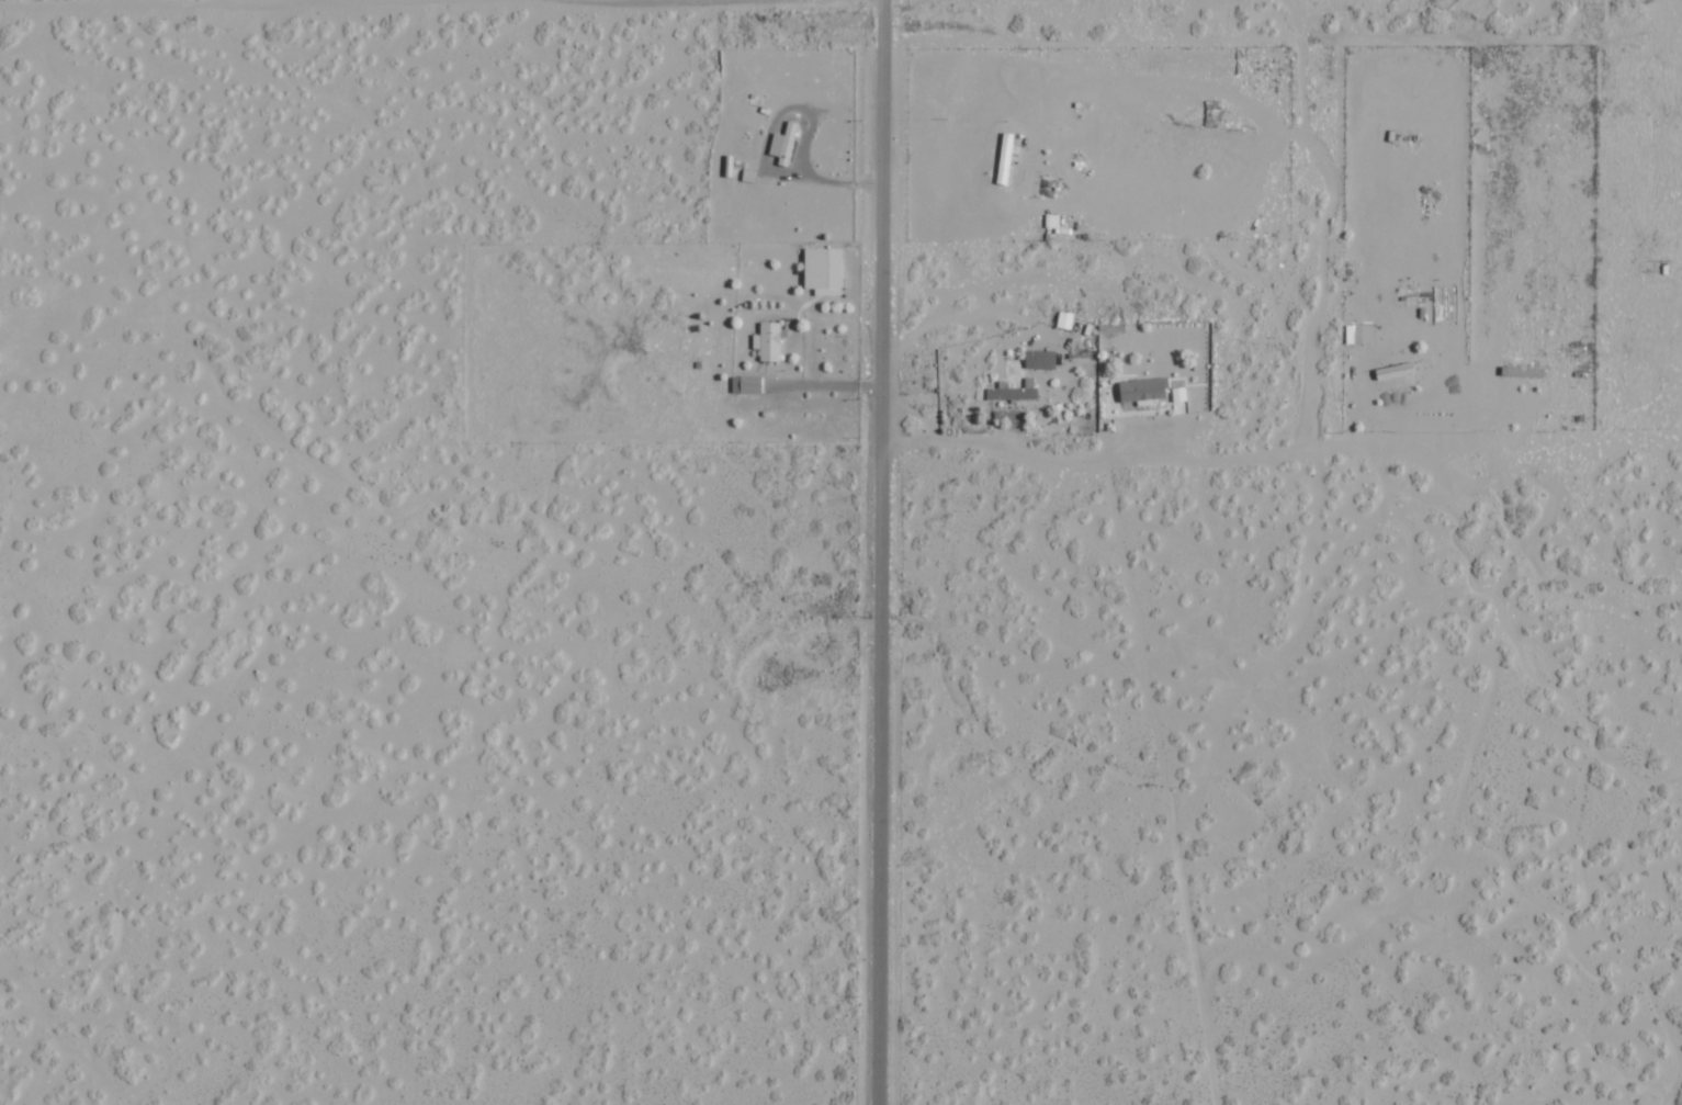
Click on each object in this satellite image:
road: (203, 0)
road: (211, 0)
building: (784, 143)
building: (824, 268)
building: (1362, 334)
building: (769, 341)
building: (1041, 359)
building: (1524, 372)
building: (748, 384)
building: (1143, 388)
building: (1015, 392)
building: (1179, 394)
road: (879, 552)

